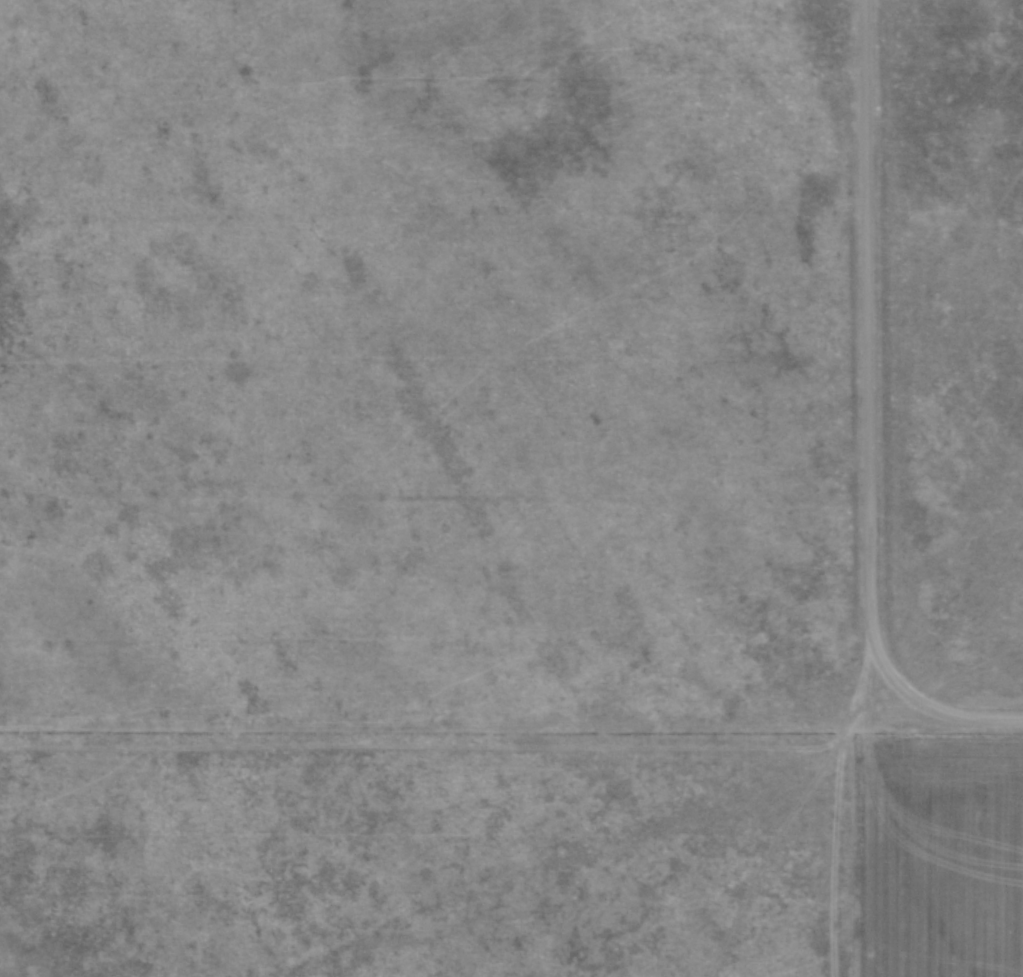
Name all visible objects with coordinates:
road: (866, 413)

